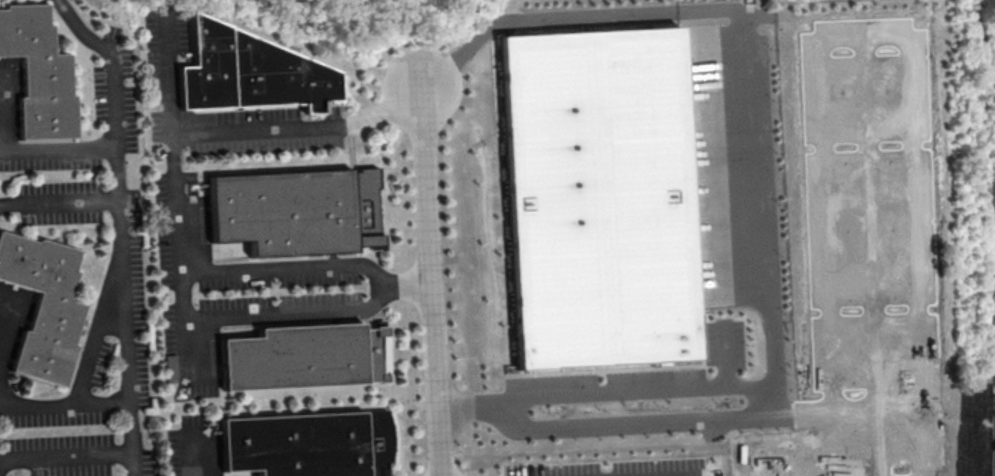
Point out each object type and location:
road: (539, 20)
building: (250, 71)
road: (110, 73)
building: (36, 78)
road: (299, 130)
road: (759, 132)
road: (57, 152)
building: (601, 203)
road: (58, 205)
building: (294, 211)
road: (179, 274)
road: (432, 279)
road: (181, 299)
building: (42, 309)
road: (261, 316)
road: (123, 323)
road: (94, 330)
building: (303, 356)
road: (773, 369)
road: (641, 390)
road: (63, 406)
road: (472, 411)
road: (744, 417)
building: (306, 444)
road: (64, 456)
road: (188, 460)

